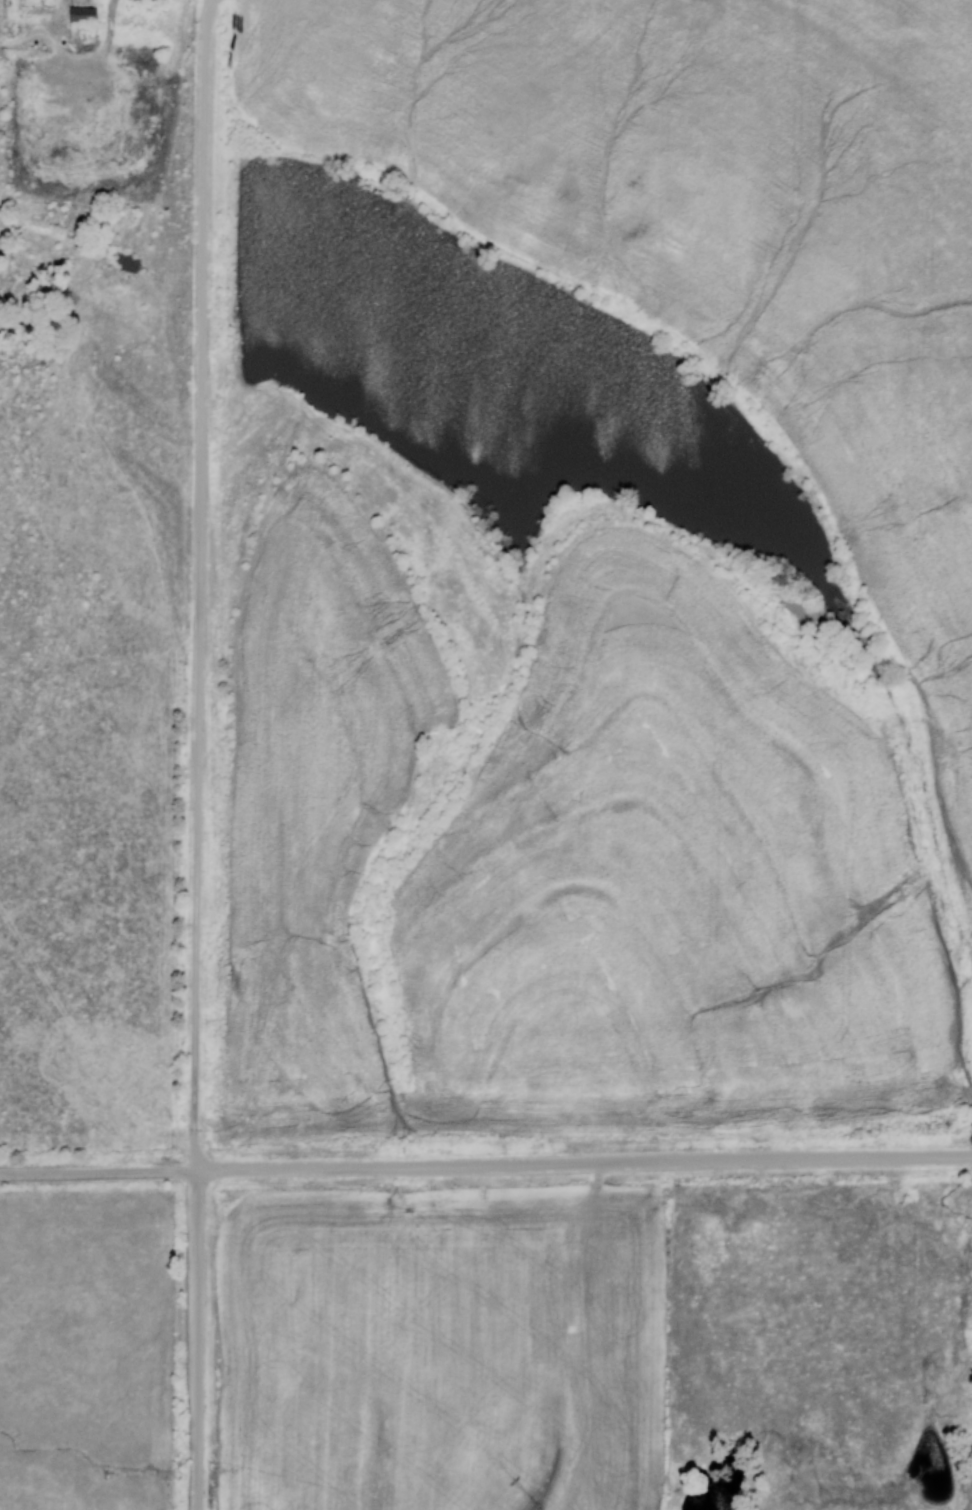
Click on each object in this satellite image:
building: (81, 14)
road: (202, 585)
road: (486, 1165)
road: (201, 1340)

